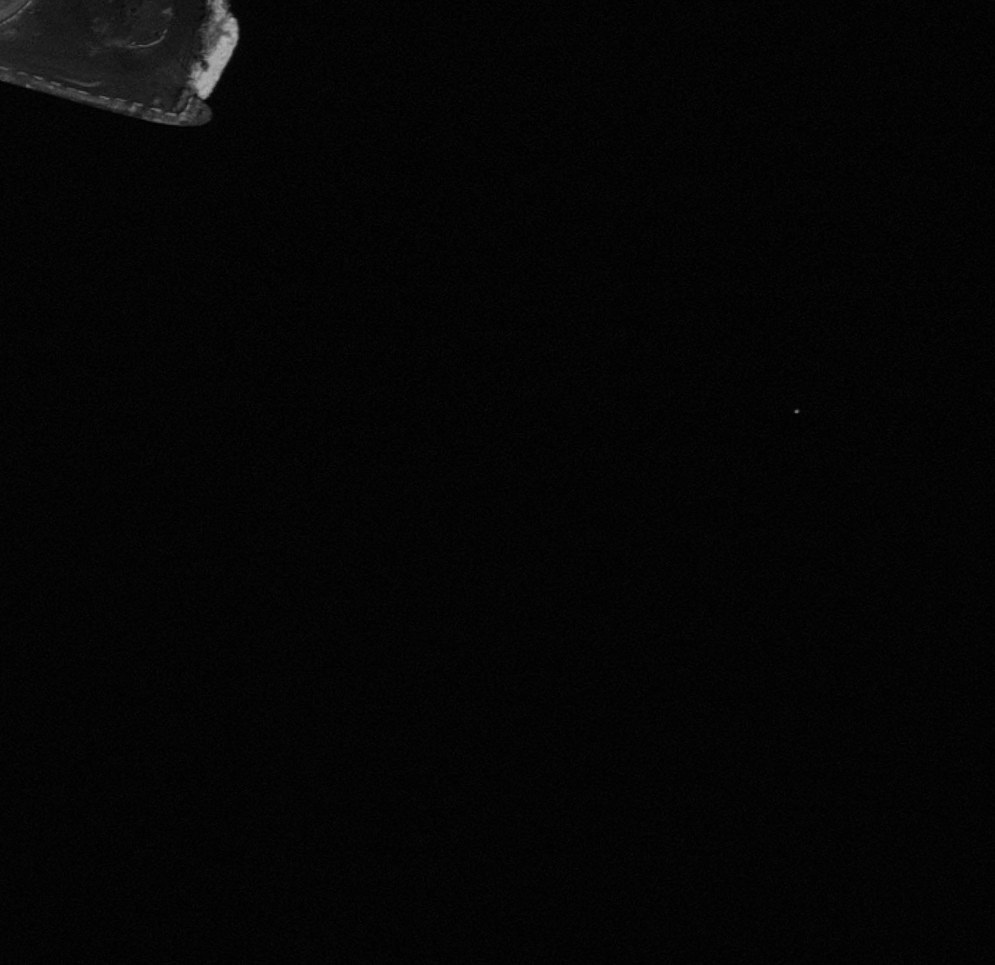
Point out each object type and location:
quarry: (129, 59)
river: (919, 945)

